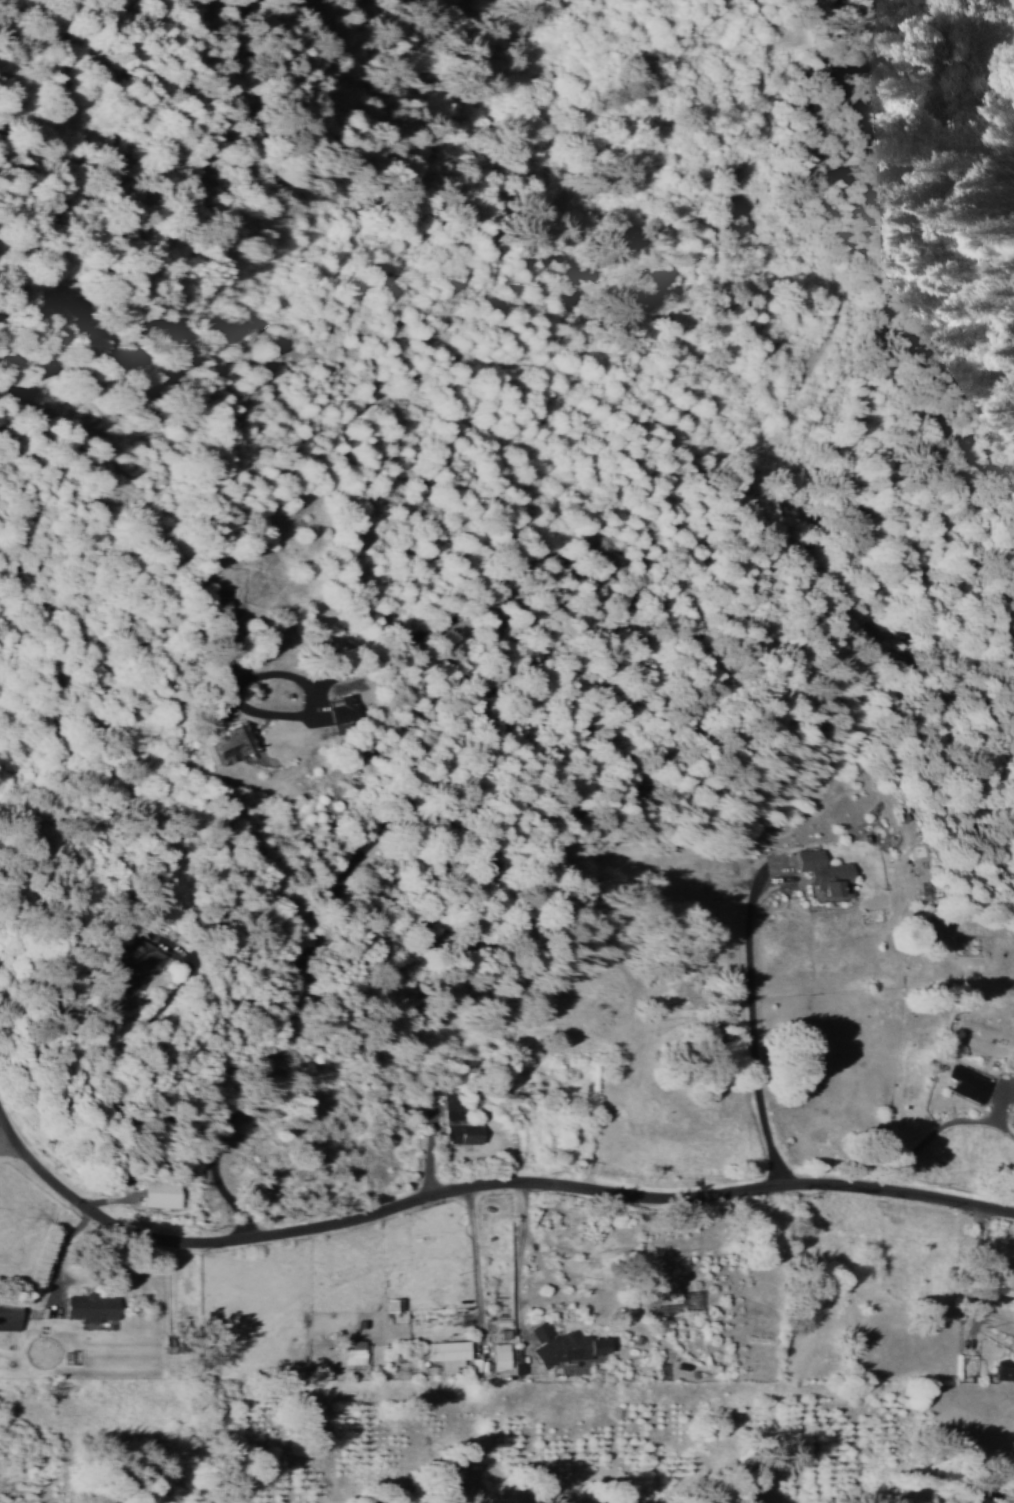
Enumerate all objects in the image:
building: (335, 707)
building: (226, 741)
building: (819, 870)
building: (137, 967)
building: (965, 1082)
building: (461, 1133)
road: (7, 1144)
road: (475, 1187)
building: (160, 1193)
building: (88, 1306)
building: (7, 1315)
building: (561, 1345)
building: (446, 1352)
building: (499, 1355)

